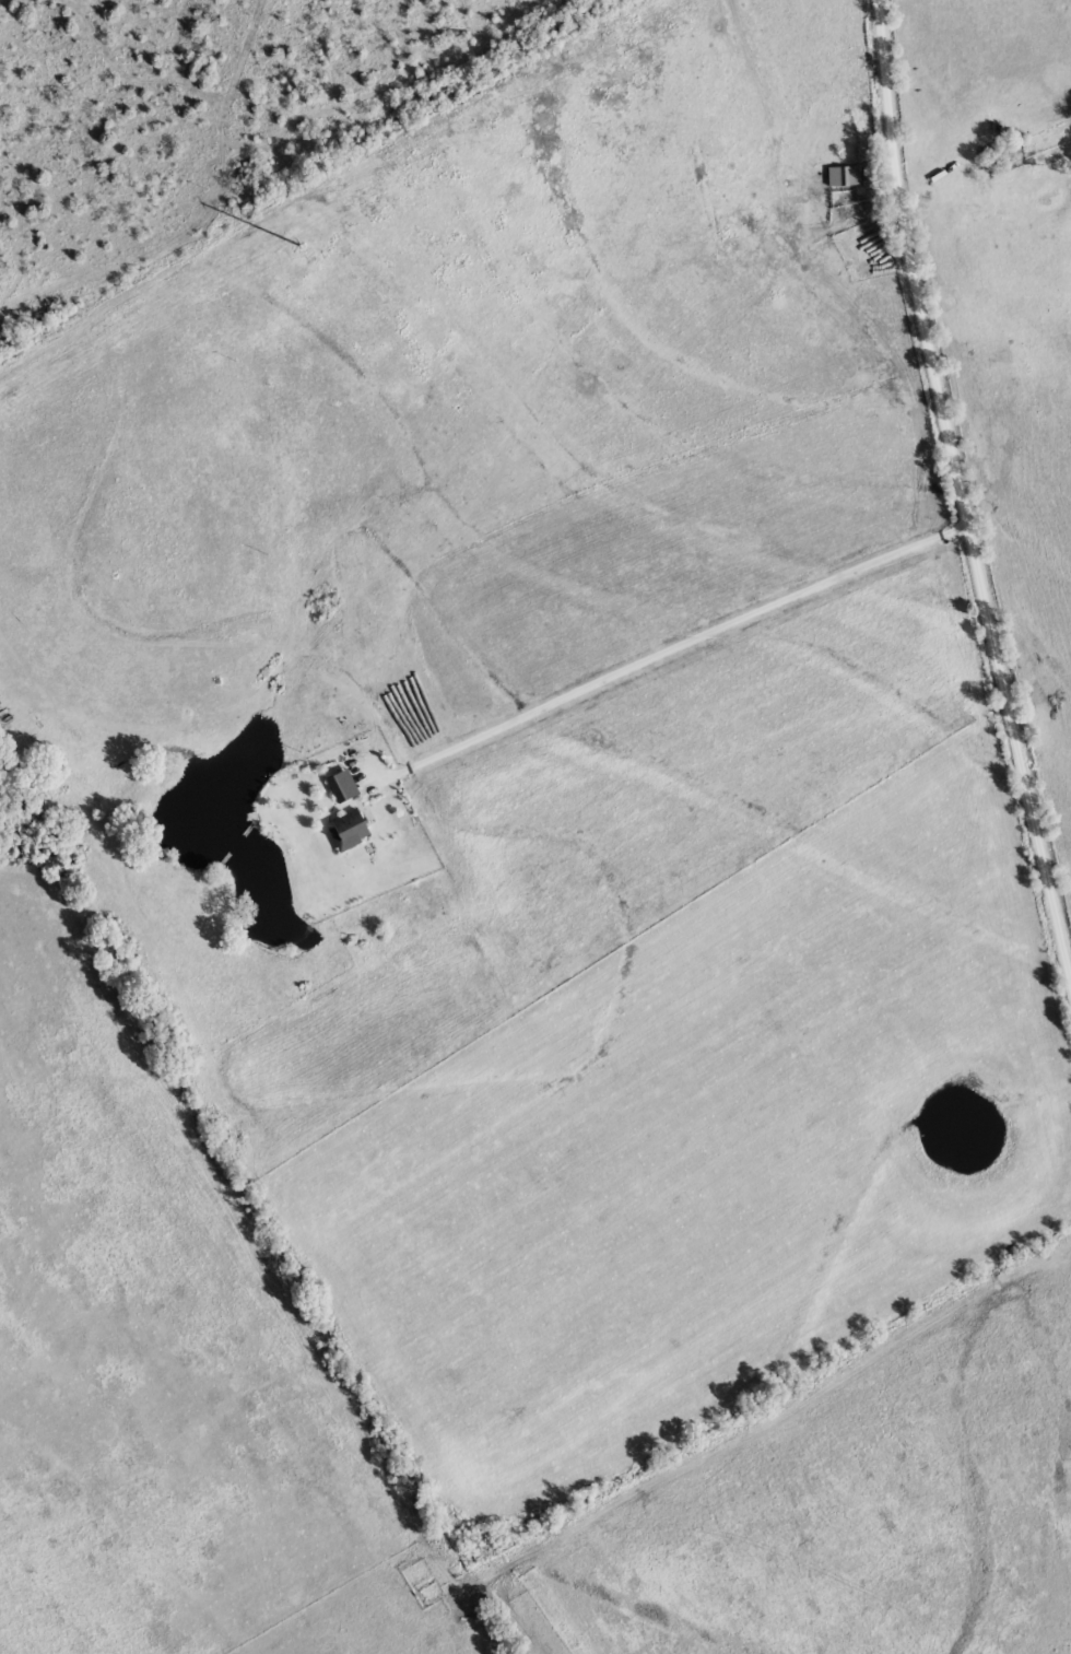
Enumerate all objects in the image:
road: (939, 145)
building: (841, 176)
power tower: (302, 245)
road: (960, 490)
road: (672, 648)
building: (345, 787)
building: (351, 831)
road: (1009, 1599)
road: (631, 1611)

